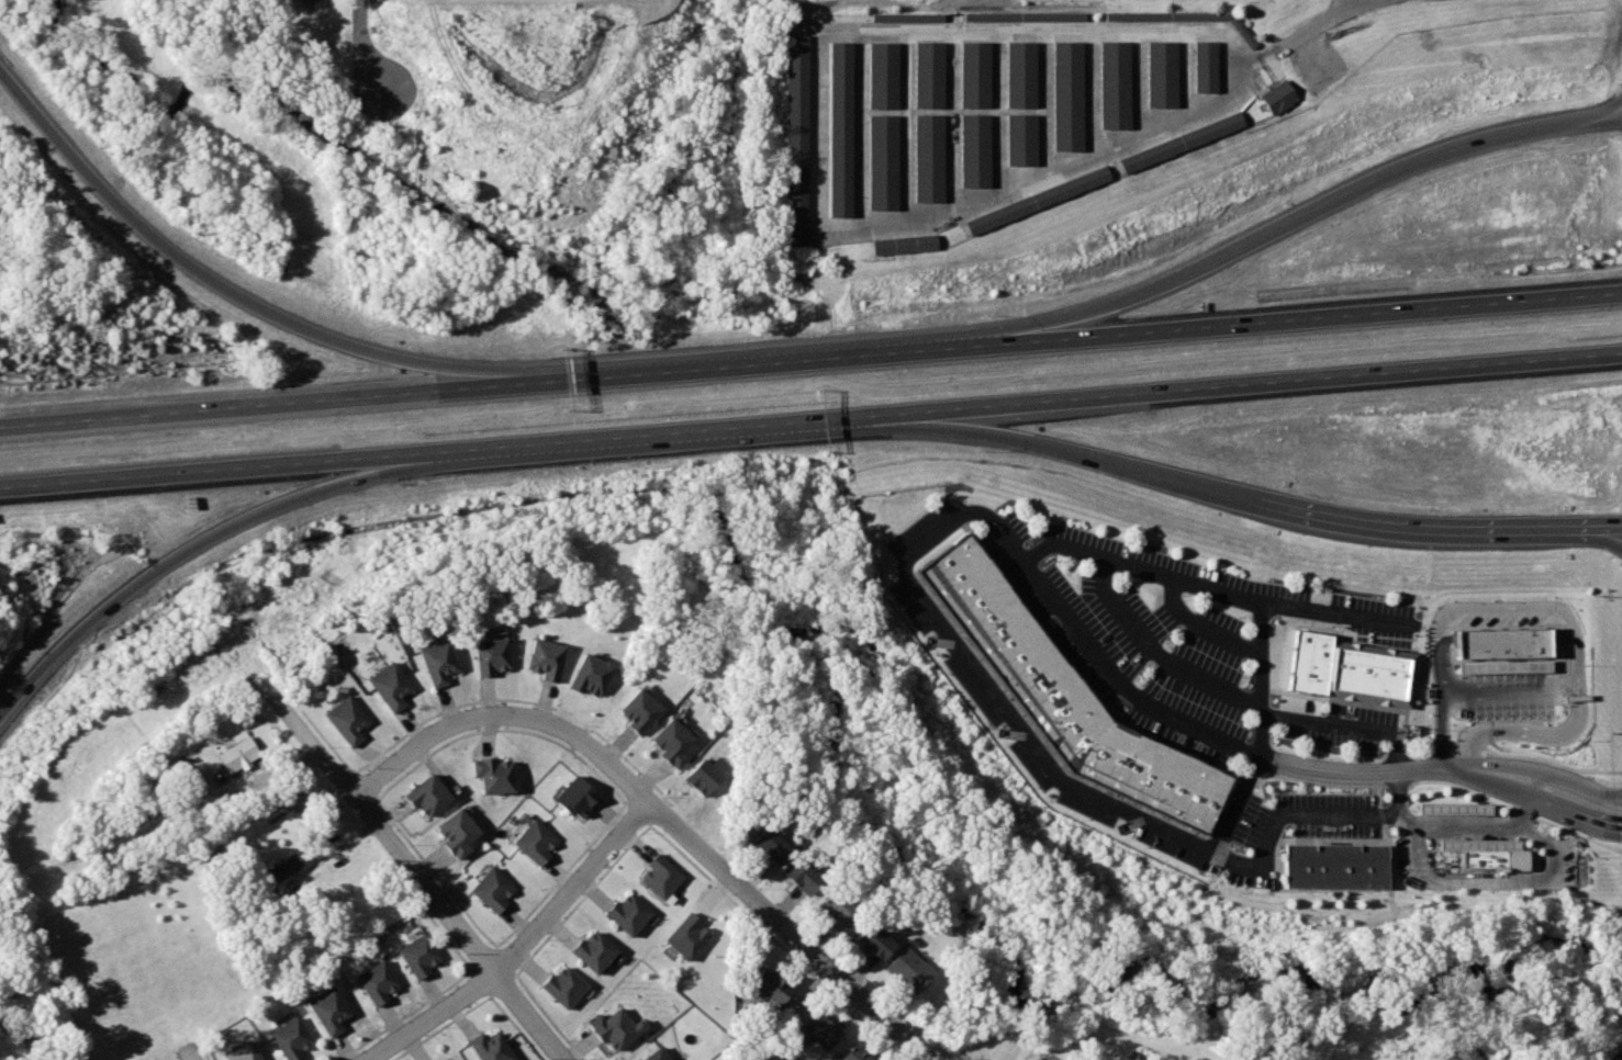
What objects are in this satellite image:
building: (303, 0)
road: (1353, 2)
building: (1021, 15)
building: (903, 16)
road: (1323, 23)
road: (357, 24)
building: (1205, 58)
building: (1162, 64)
building: (1115, 78)
building: (1066, 87)
building: (1277, 92)
building: (1019, 93)
building: (972, 108)
road: (393, 110)
building: (925, 111)
road: (1615, 111)
building: (876, 116)
building: (834, 120)
building: (791, 134)
building: (1178, 140)
building: (1033, 196)
road: (1311, 212)
building: (903, 243)
road: (212, 282)
road: (1317, 316)
road: (753, 364)
road: (1241, 387)
road: (247, 407)
road: (629, 437)
road: (1063, 446)
road: (200, 470)
road: (992, 519)
road: (1601, 525)
road: (1419, 531)
road: (1601, 533)
road: (180, 557)
road: (1211, 582)
road: (1472, 607)
road: (1199, 621)
building: (1515, 642)
road: (1154, 646)
building: (489, 655)
parking lot: (1151, 657)
building: (542, 658)
building: (437, 662)
building: (1373, 673)
building: (588, 674)
building: (388, 686)
road: (1512, 690)
building: (1063, 695)
road: (1582, 697)
road: (524, 700)
building: (637, 711)
road: (505, 715)
building: (346, 719)
road: (1343, 723)
road: (1253, 729)
road: (501, 730)
road: (1520, 732)
road: (326, 740)
building: (670, 742)
building: (236, 754)
road: (280, 767)
road: (1455, 769)
road: (1467, 774)
building: (491, 775)
building: (701, 776)
road: (1546, 780)
road: (1487, 785)
road: (362, 787)
road: (635, 790)
building: (425, 794)
building: (572, 797)
road: (1614, 797)
road: (681, 805)
building: (1455, 808)
road: (1409, 812)
road: (1526, 812)
road: (636, 813)
road: (1307, 814)
road: (1576, 820)
road: (1470, 827)
building: (455, 832)
building: (533, 842)
building: (769, 846)
road: (332, 852)
building: (1496, 859)
park: (1120, 864)
building: (1332, 866)
building: (282, 868)
road: (434, 875)
road: (561, 875)
road: (421, 876)
building: (660, 876)
building: (798, 876)
road: (1494, 878)
building: (490, 890)
road: (581, 899)
building: (836, 909)
building: (627, 914)
road: (788, 931)
road: (445, 936)
building: (686, 936)
road: (771, 936)
building: (872, 940)
road: (519, 941)
building: (593, 951)
building: (415, 956)
road: (481, 957)
road: (505, 959)
building: (907, 969)
building: (373, 982)
road: (479, 982)
road: (502, 984)
building: (770, 985)
building: (562, 986)
building: (326, 1011)
road: (402, 1015)
road: (549, 1016)
road: (24, 1027)
road: (441, 1027)
road: (518, 1027)
building: (616, 1027)
building: (819, 1030)
building: (288, 1038)
road: (881, 1044)
building: (492, 1048)
road: (33, 1049)
road: (203, 1052)
building: (242, 1052)
building: (656, 1055)
building: (852, 1055)
road: (190, 1056)
building: (450, 1059)

